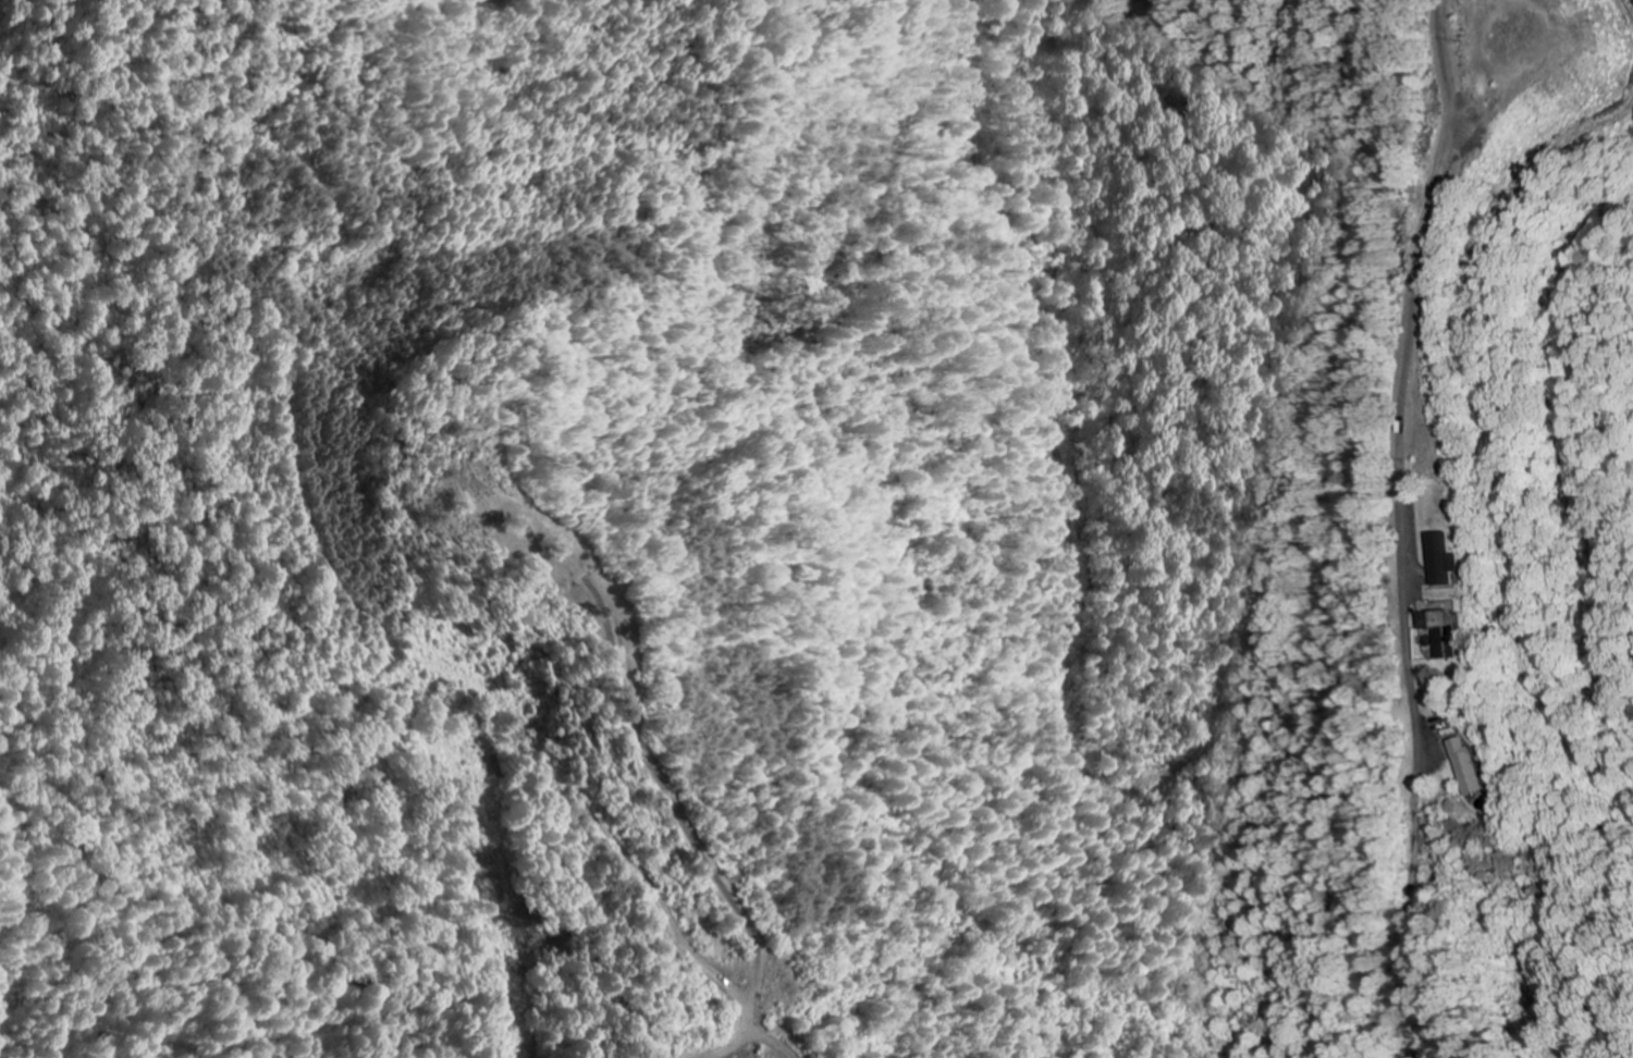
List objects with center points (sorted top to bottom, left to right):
road: (1400, 407)
building: (1446, 559)
building: (1470, 767)
road: (659, 899)

